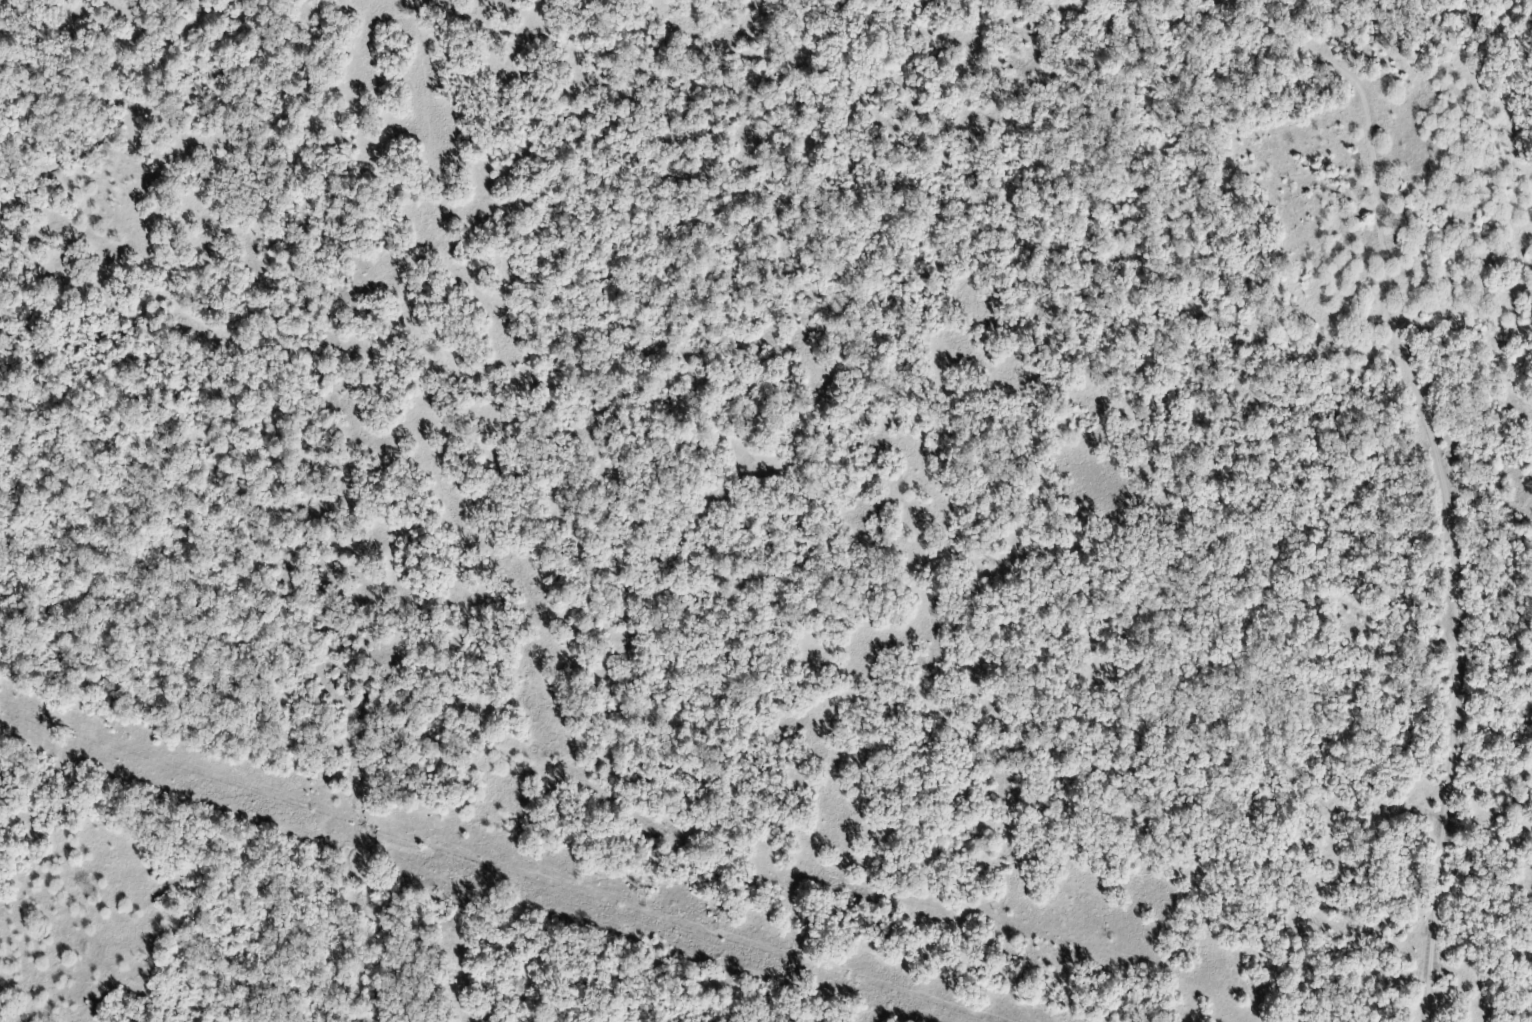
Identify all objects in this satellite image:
road: (1472, 632)

